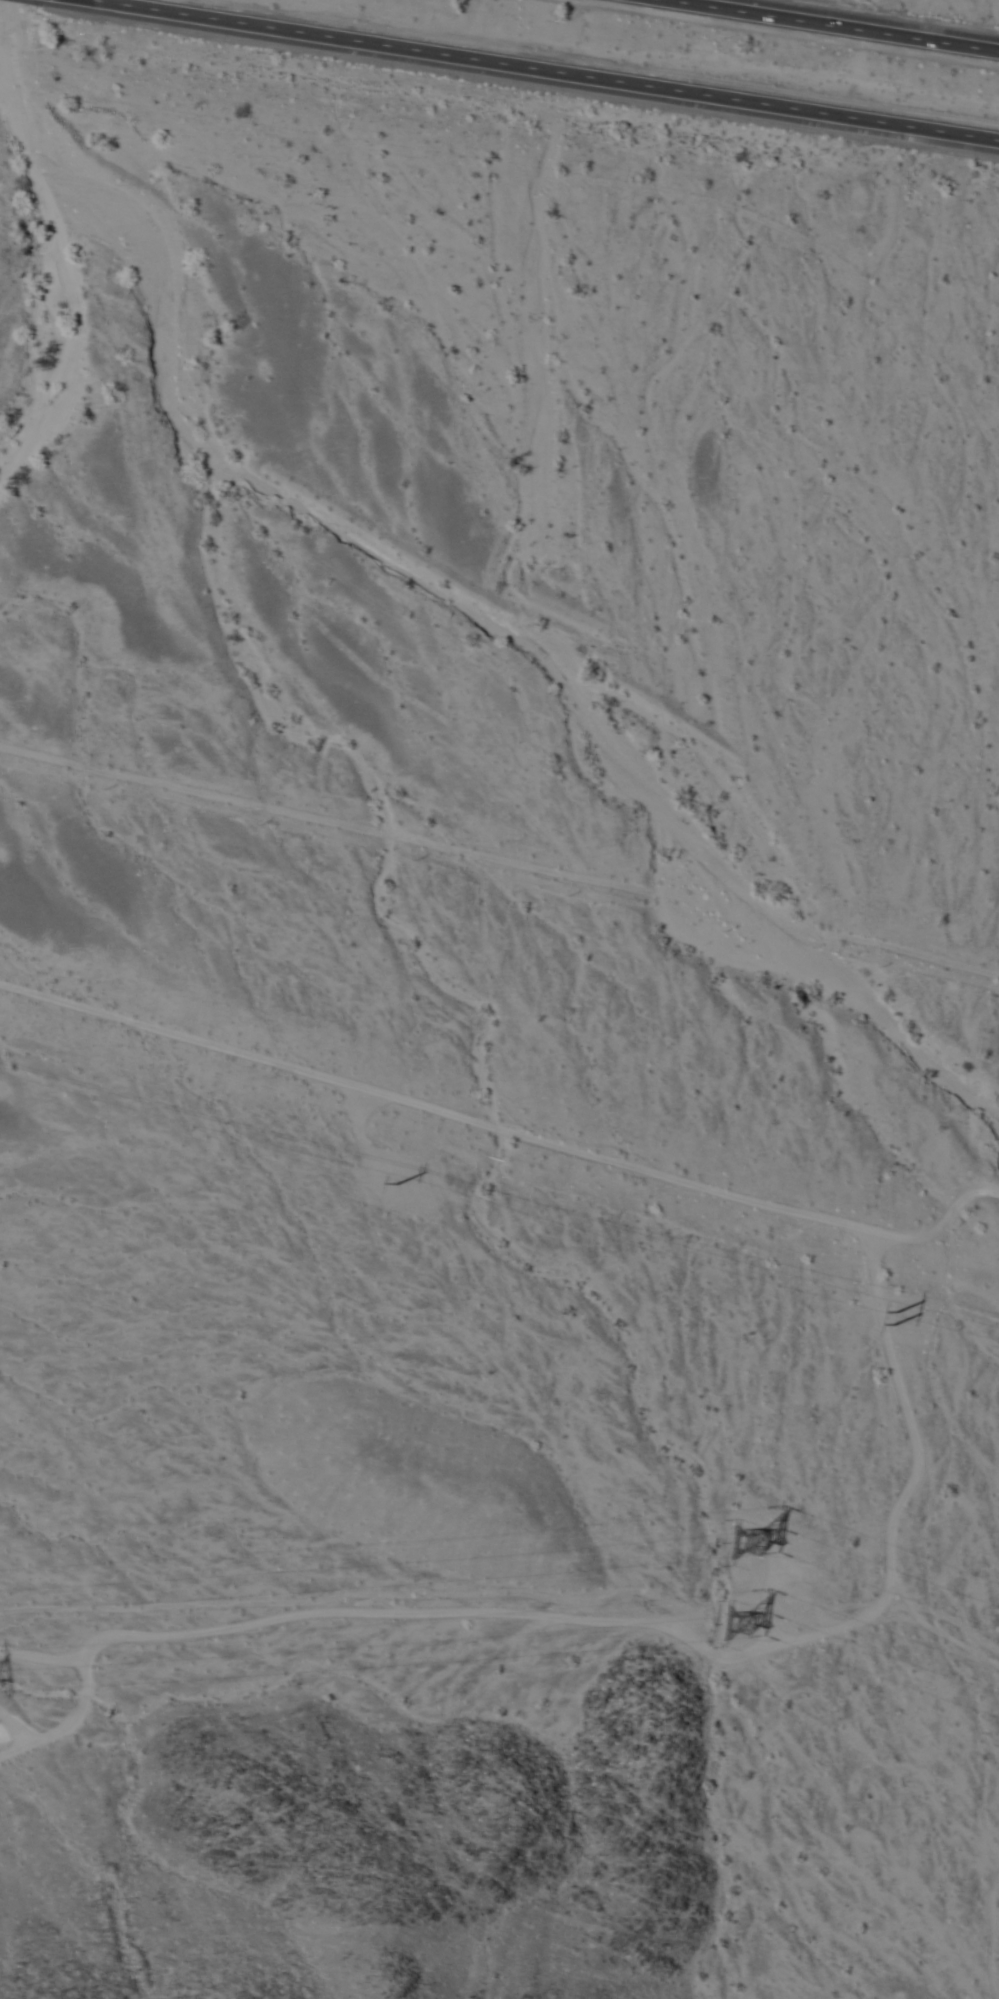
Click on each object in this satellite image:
road: (847, 23)
road: (527, 73)
road: (499, 860)
road: (506, 1131)
power tower: (883, 1323)
power tower: (735, 1543)
power tower: (739, 1617)

